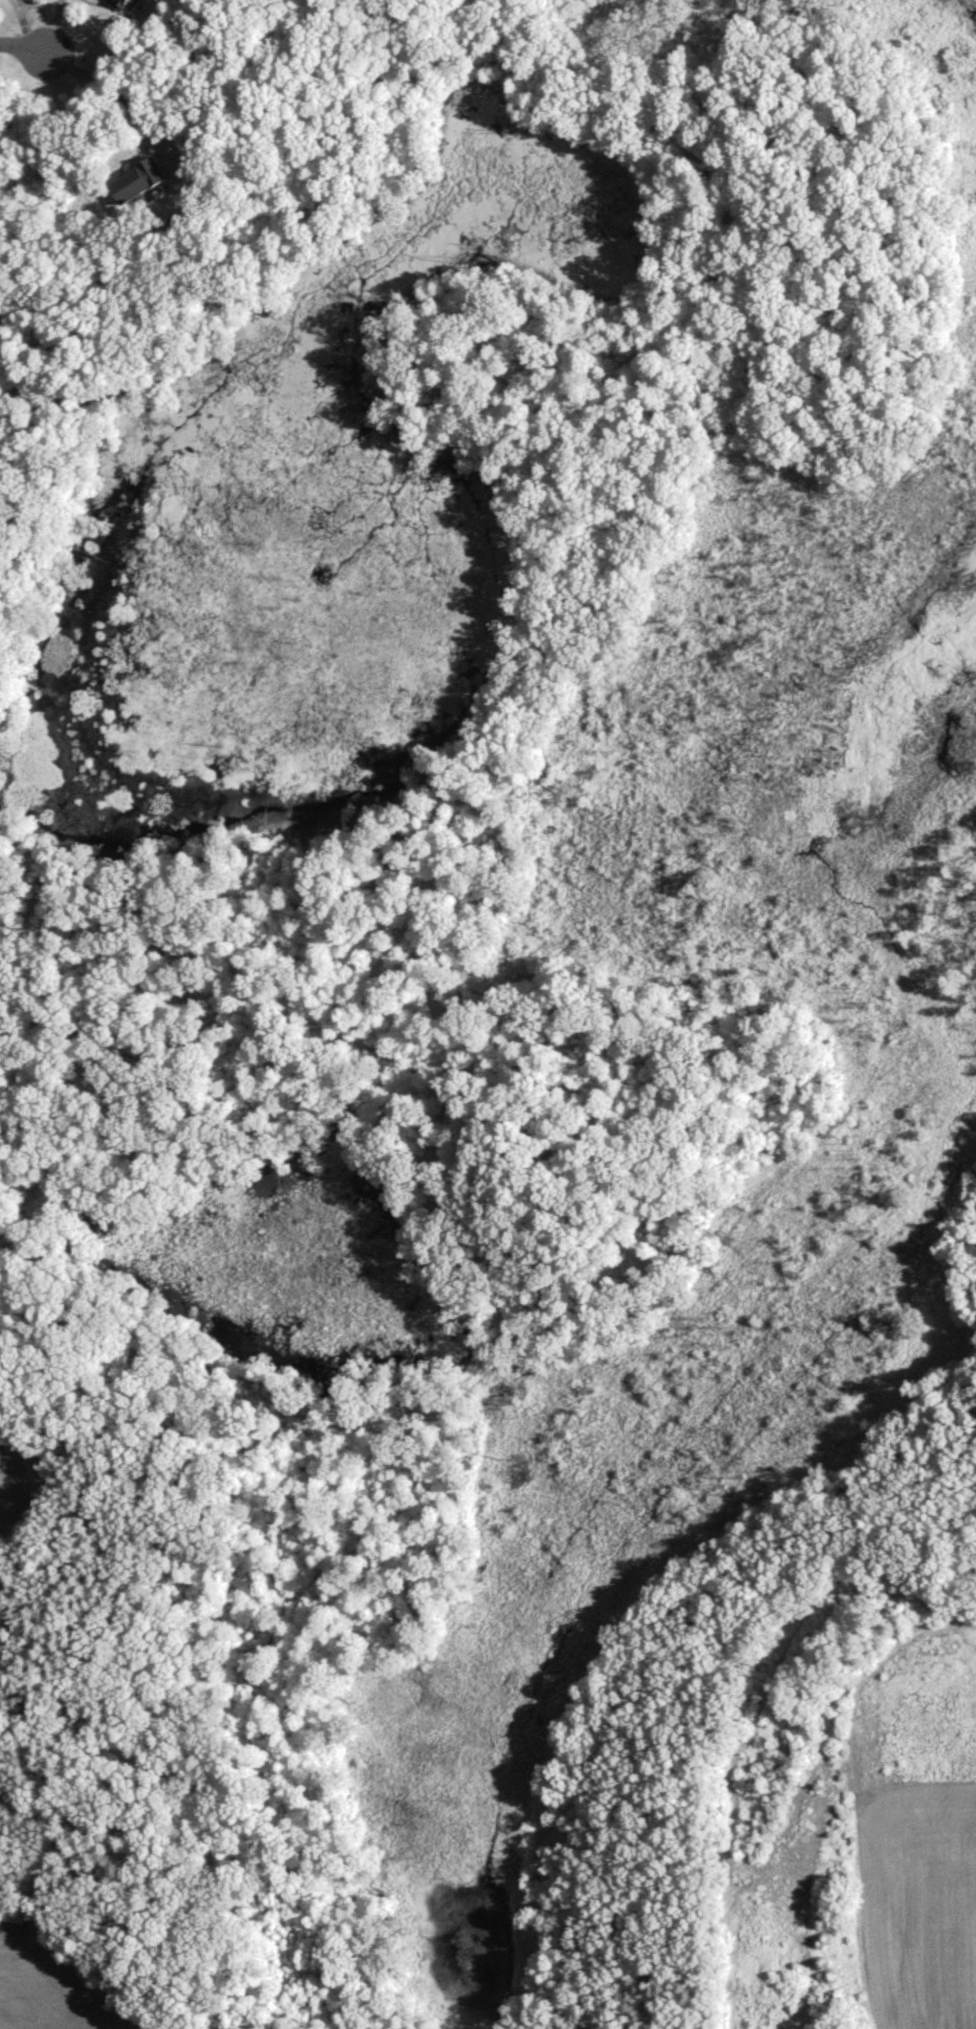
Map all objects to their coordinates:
building: (126, 4)
road: (21, 23)
road: (26, 47)
road: (120, 96)
building: (139, 180)

